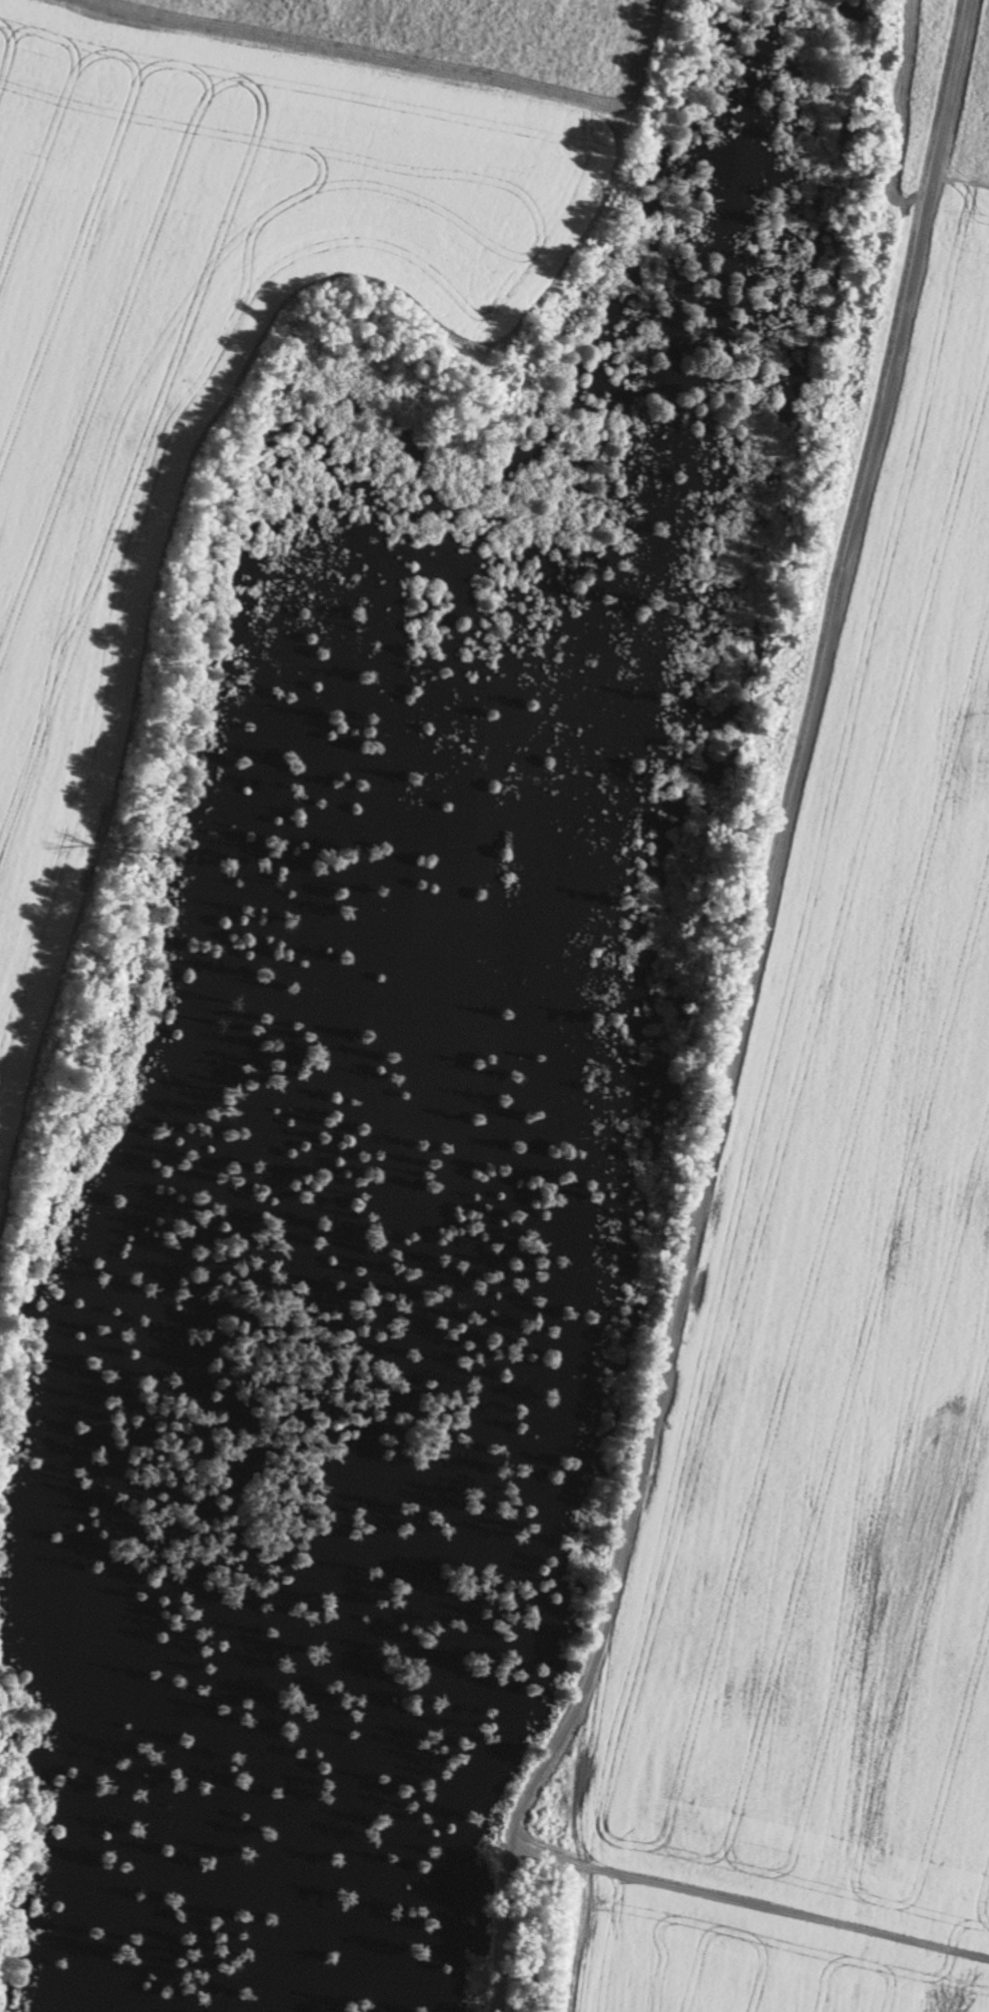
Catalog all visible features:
road: (807, 1007)

